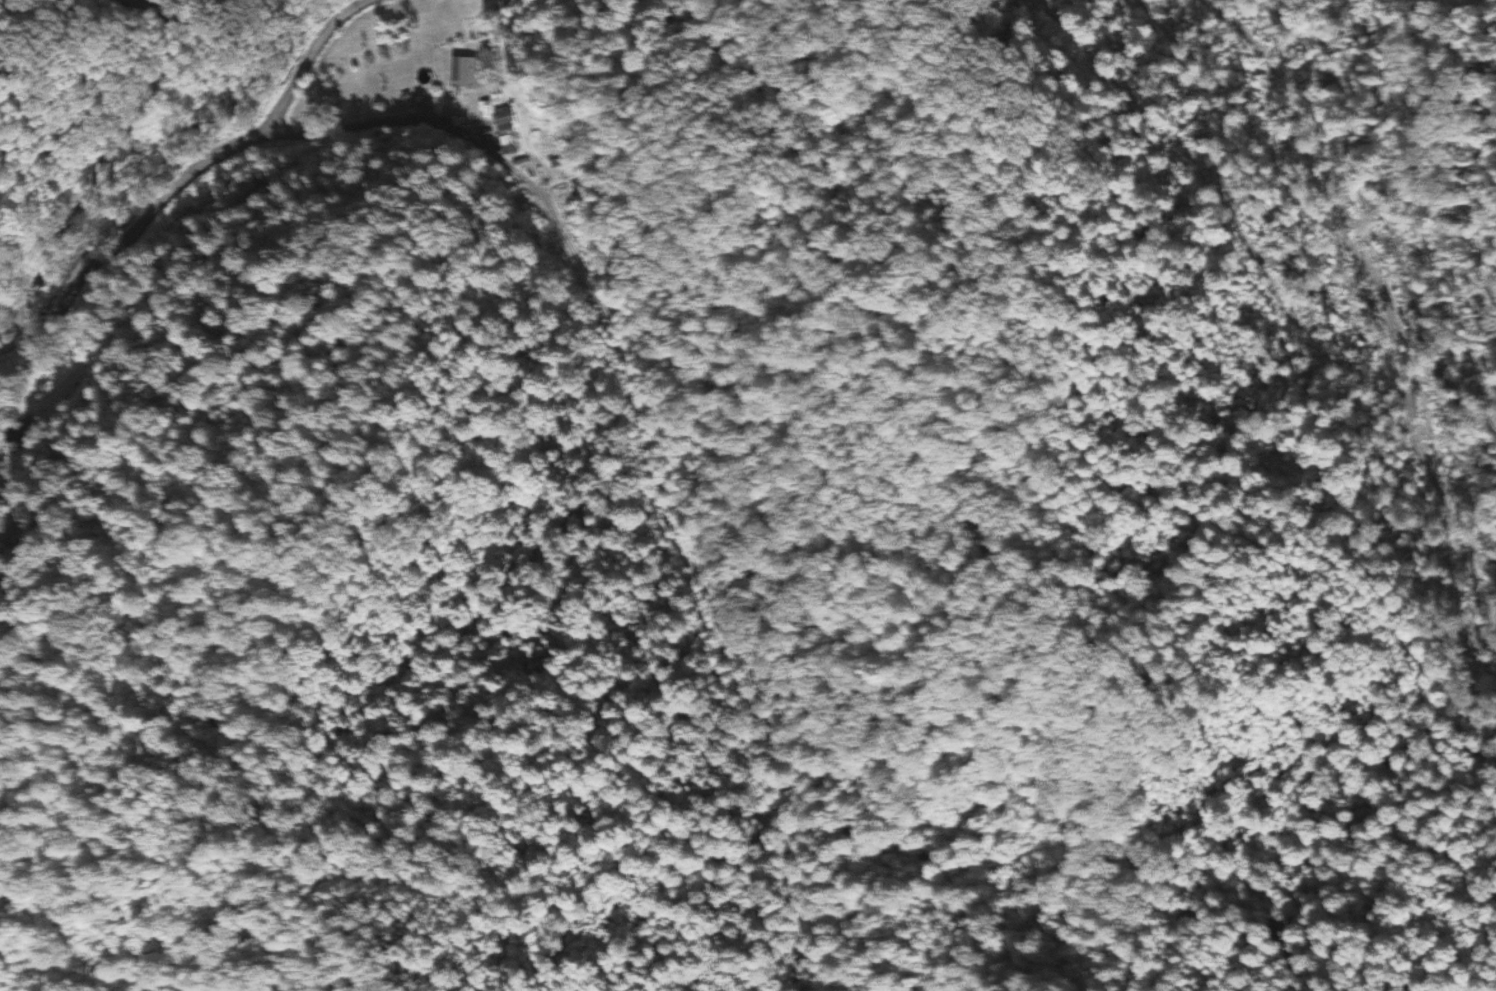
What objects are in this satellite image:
building: (470, 73)
road: (99, 170)
building: (564, 177)
road: (190, 180)

